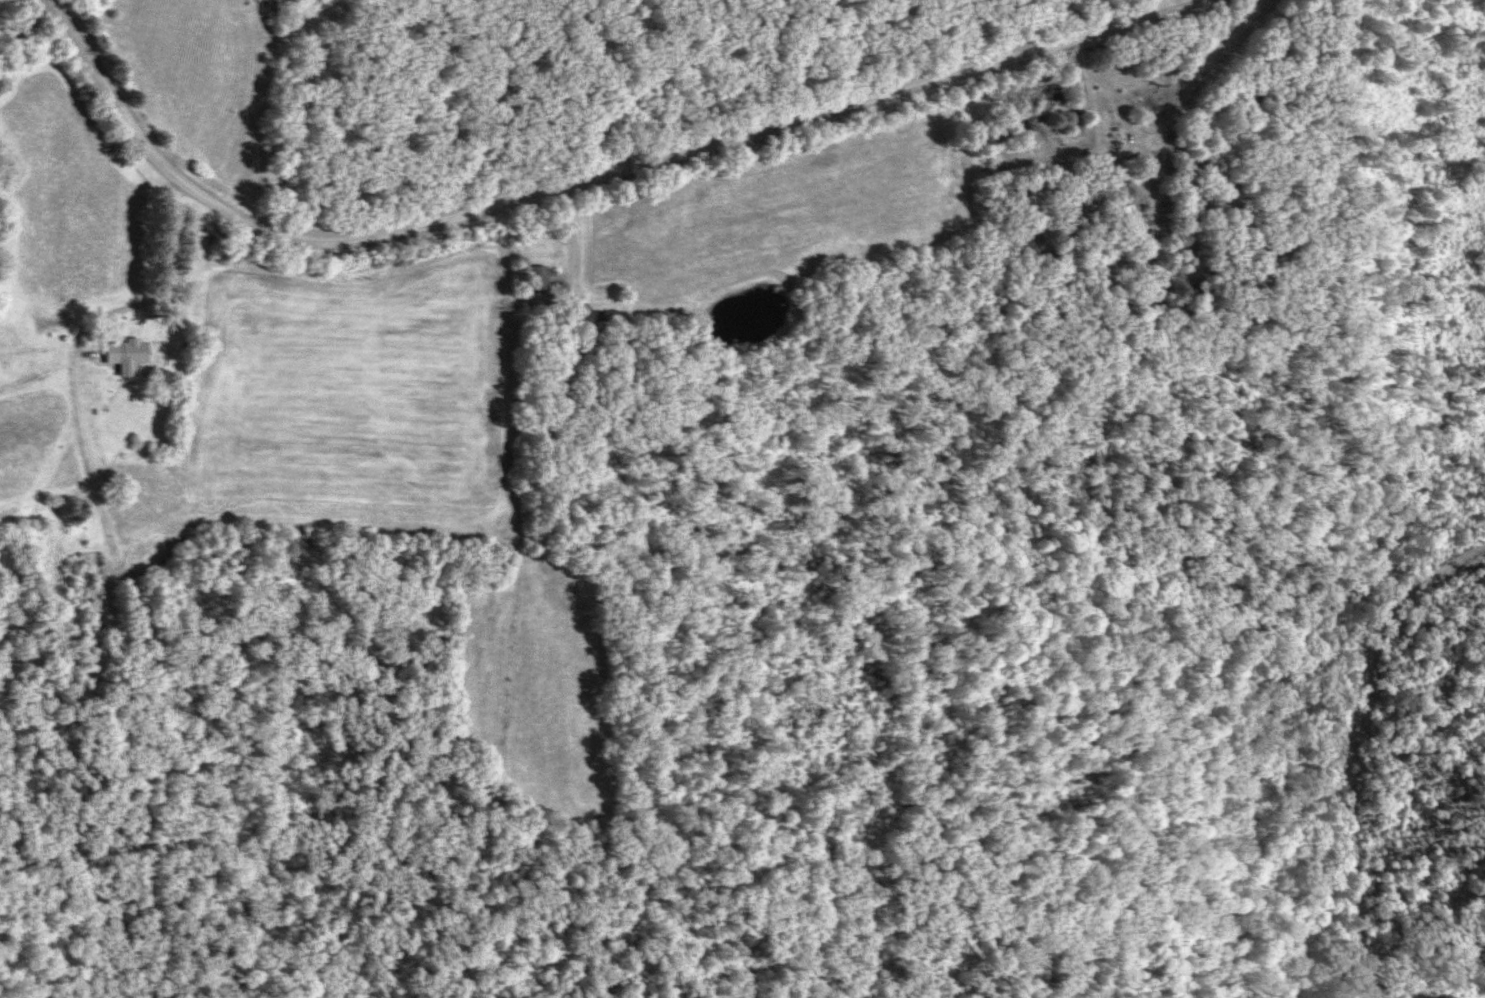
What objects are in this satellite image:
road: (293, 116)
road: (584, 180)
road: (574, 257)
road: (180, 264)
building: (538, 280)
building: (596, 319)
building: (125, 353)

